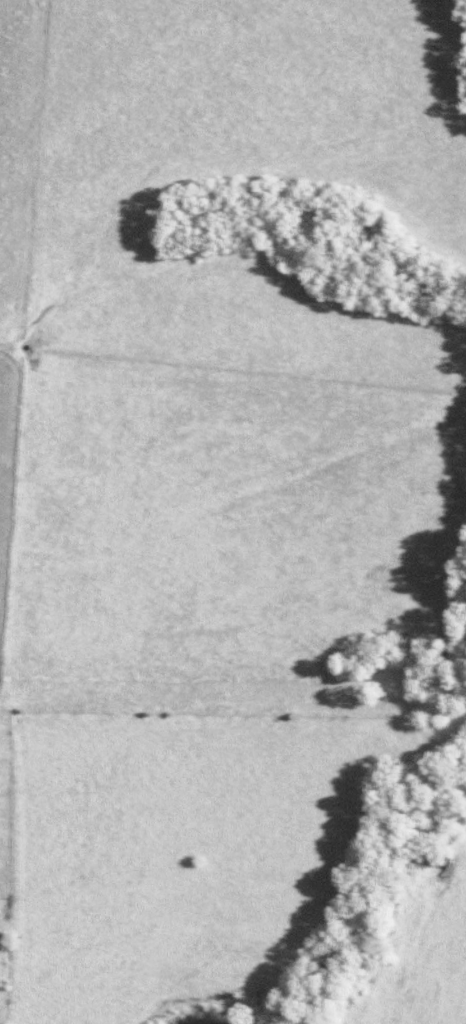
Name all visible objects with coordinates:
building: (427, 855)

